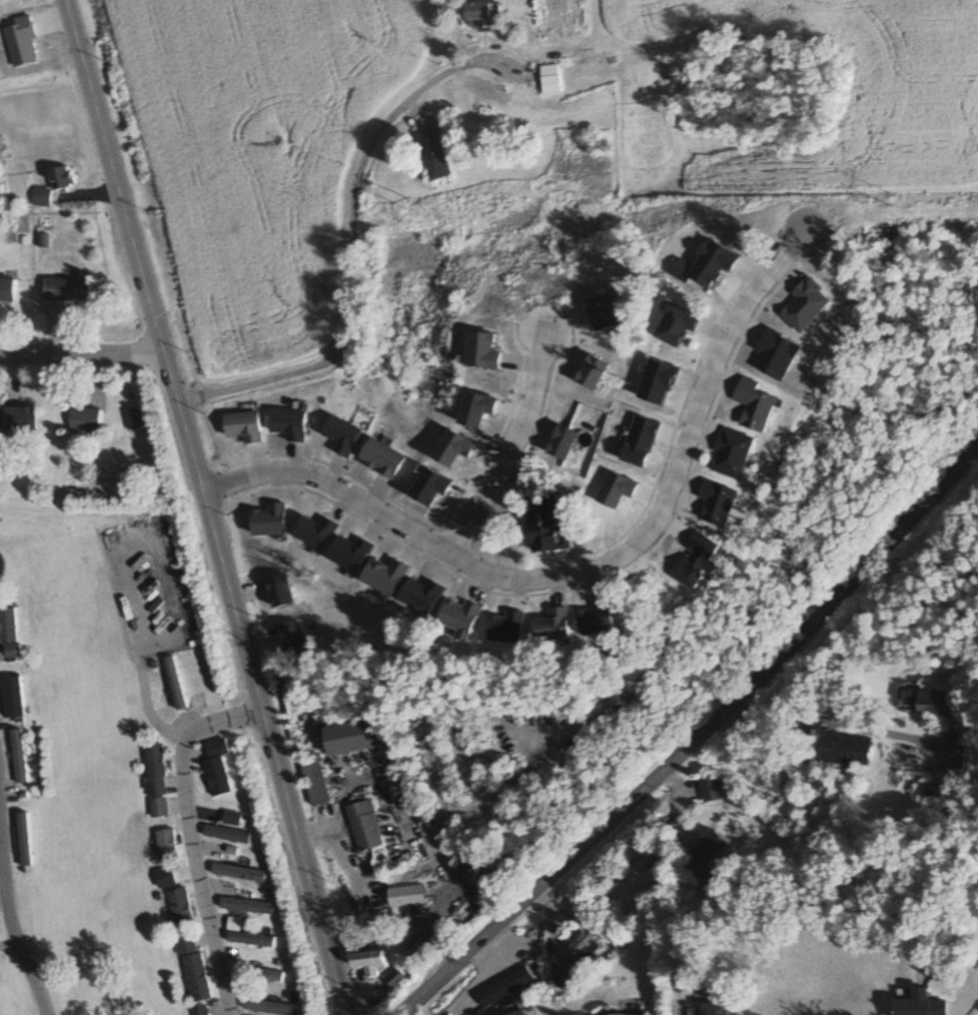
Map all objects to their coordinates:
building: (481, 17)
building: (550, 80)
crop: (844, 88)
crop: (256, 153)
building: (432, 155)
building: (60, 178)
building: (41, 198)
power tower: (883, 199)
power tower: (404, 203)
road: (349, 240)
building: (7, 289)
building: (66, 289)
building: (569, 334)
road: (81, 353)
building: (132, 417)
building: (17, 418)
building: (85, 419)
road: (505, 453)
road: (204, 507)
building: (547, 529)
road: (584, 573)
building: (9, 630)
building: (926, 701)
road: (818, 720)
road: (698, 735)
building: (353, 736)
building: (839, 749)
building: (19, 756)
building: (152, 767)
building: (217, 767)
building: (315, 780)
building: (711, 789)
building: (156, 808)
building: (232, 818)
building: (364, 826)
road: (182, 835)
building: (227, 835)
building: (164, 846)
building: (706, 855)
building: (239, 873)
building: (163, 879)
building: (407, 897)
building: (247, 906)
building: (178, 909)
road: (15, 932)
building: (251, 939)
building: (580, 945)
building: (420, 947)
building: (368, 961)
building: (192, 968)
building: (260, 973)
building: (560, 979)
building: (919, 1005)
building: (271, 1007)
building: (714, 1009)
building: (200, 1011)
building: (516, 1013)

